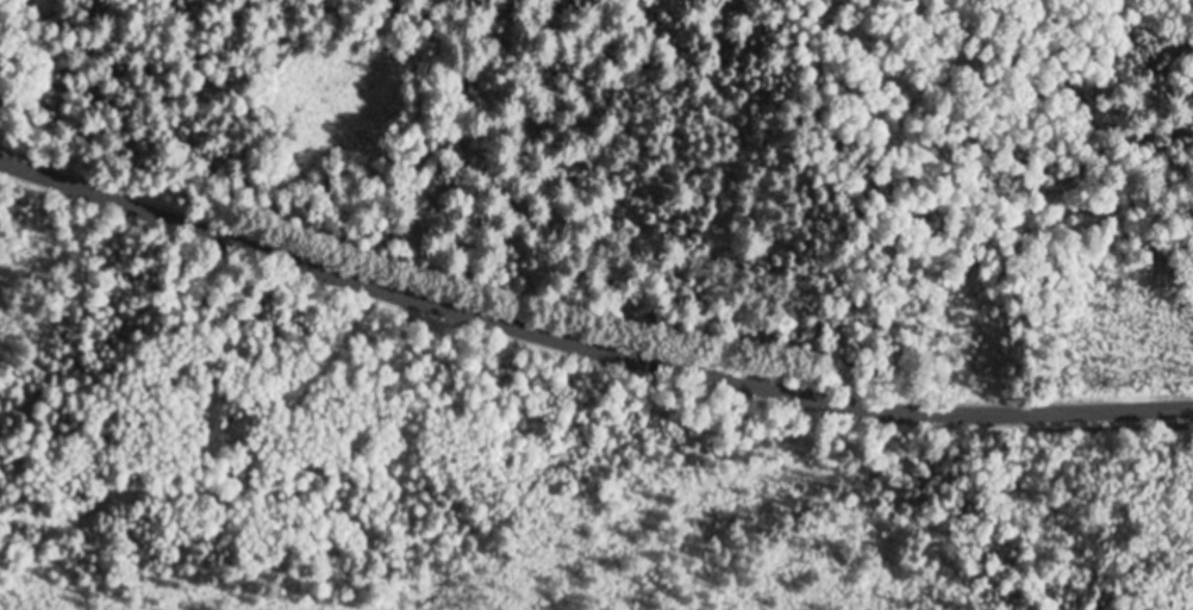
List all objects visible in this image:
road: (587, 342)

